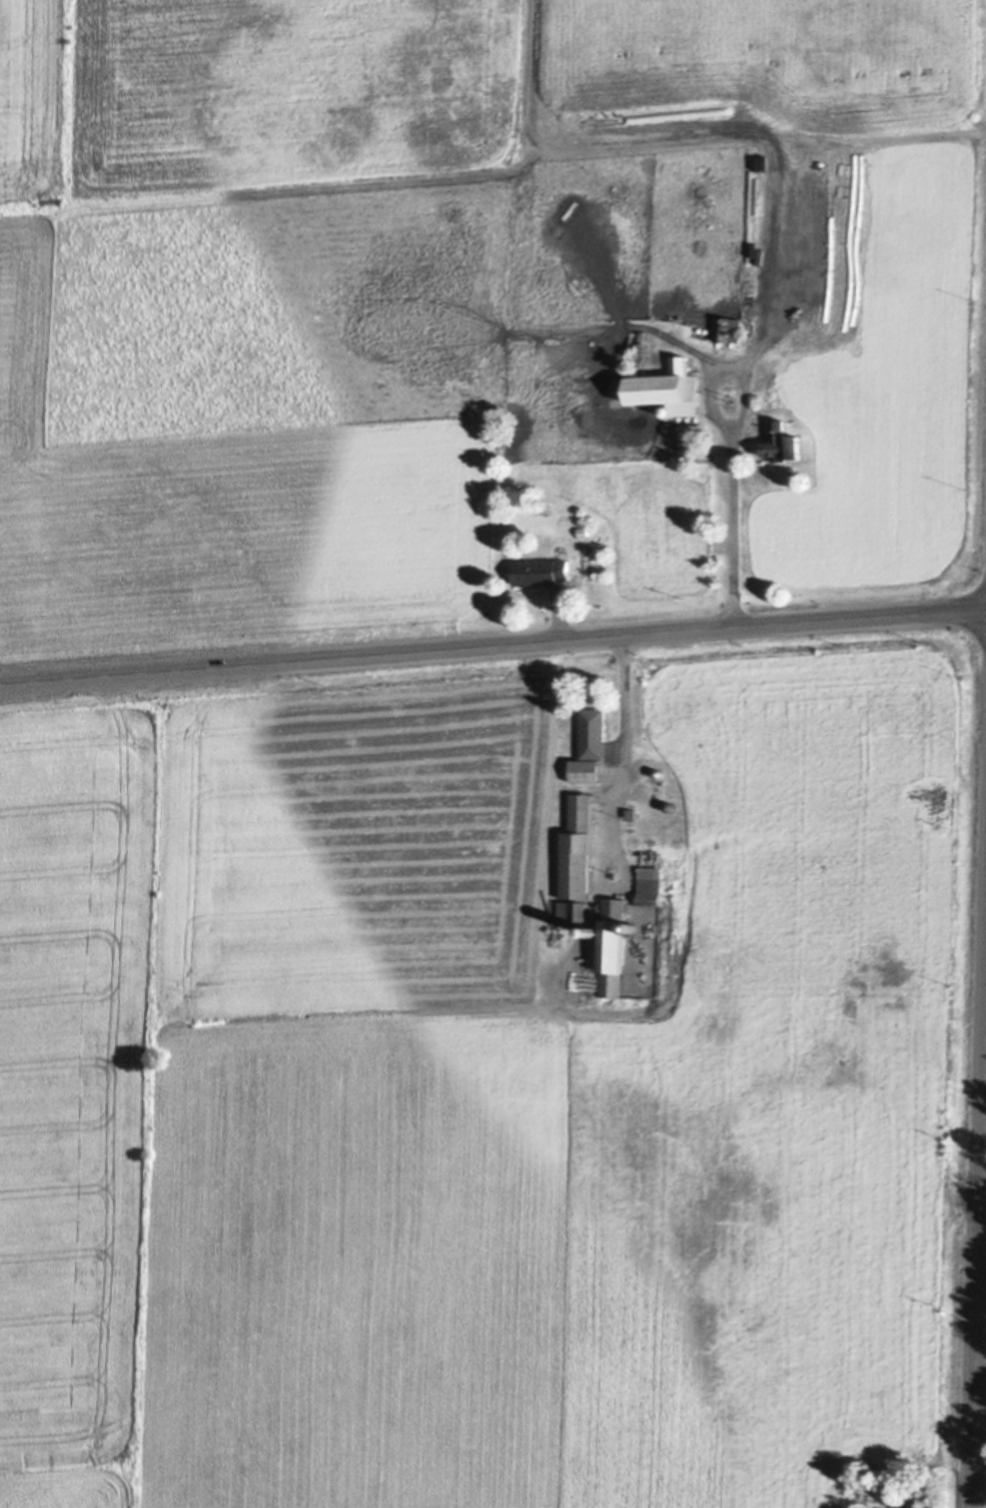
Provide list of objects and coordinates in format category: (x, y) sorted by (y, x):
road: (651, 142)
road: (767, 145)
building: (728, 326)
building: (643, 337)
crop: (171, 341)
building: (669, 385)
road: (706, 388)
road: (741, 393)
building: (783, 440)
building: (701, 450)
building: (686, 451)
road: (728, 521)
building: (582, 530)
building: (540, 569)
road: (492, 639)
building: (594, 731)
road: (615, 755)
building: (586, 768)
building: (659, 770)
building: (659, 783)
building: (672, 805)
building: (631, 811)
building: (578, 847)
building: (649, 884)
building: (572, 909)
building: (632, 925)
building: (594, 930)
building: (613, 945)
crop: (470, 1110)
road: (978, 1262)

